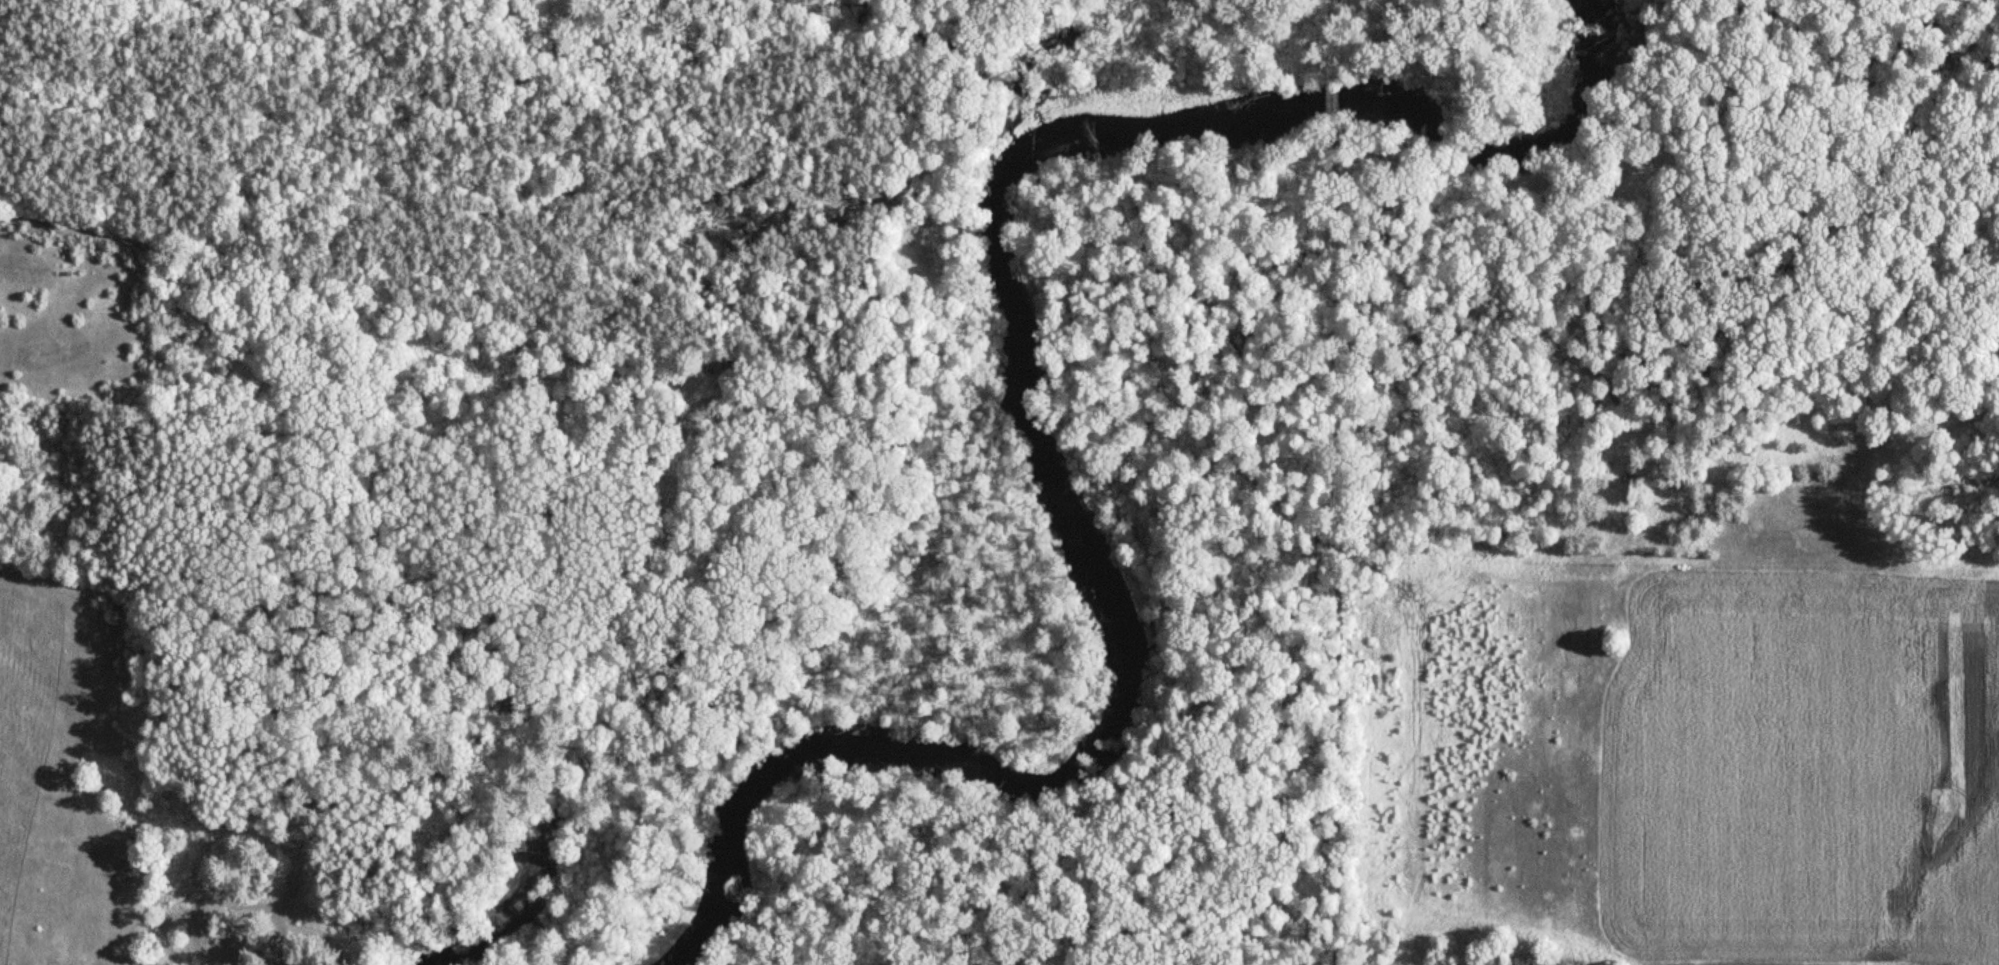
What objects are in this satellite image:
road: (1337, 39)
road: (1337, 101)
river: (1022, 392)
road: (1336, 544)

